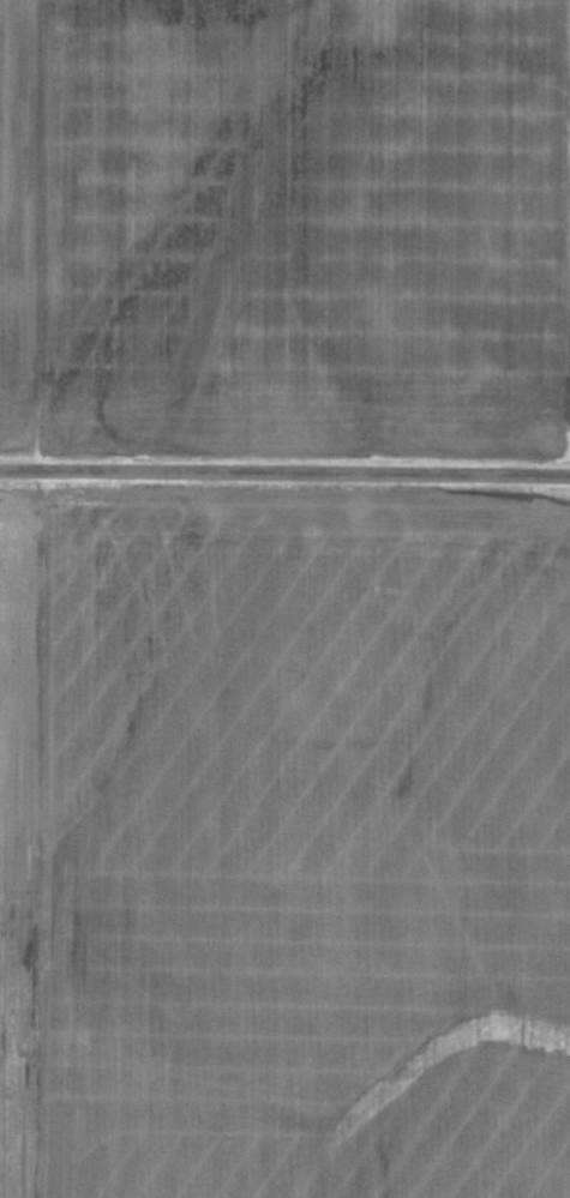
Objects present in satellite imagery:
road: (284, 462)

